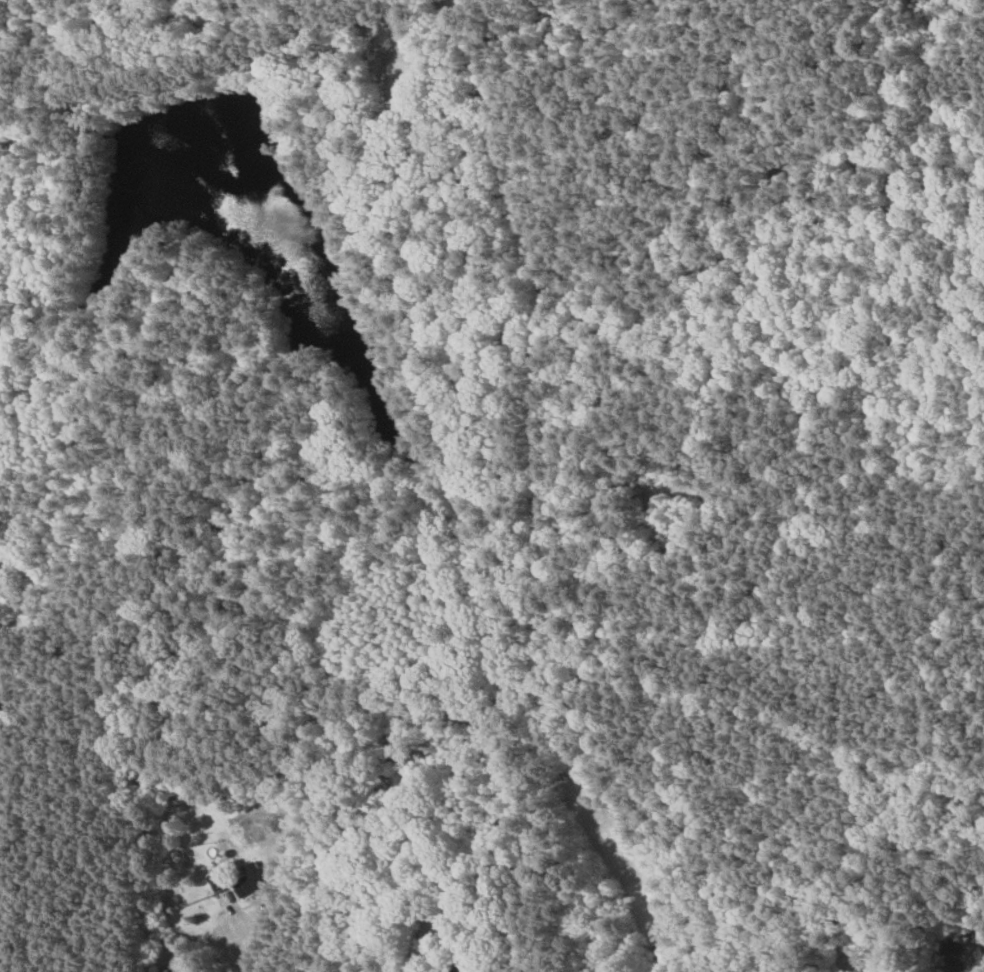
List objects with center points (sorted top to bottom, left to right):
road: (450, 20)
road: (386, 21)
road: (176, 81)
road: (23, 137)
road: (396, 141)
road: (901, 179)
road: (605, 270)
road: (547, 641)
road: (245, 935)

